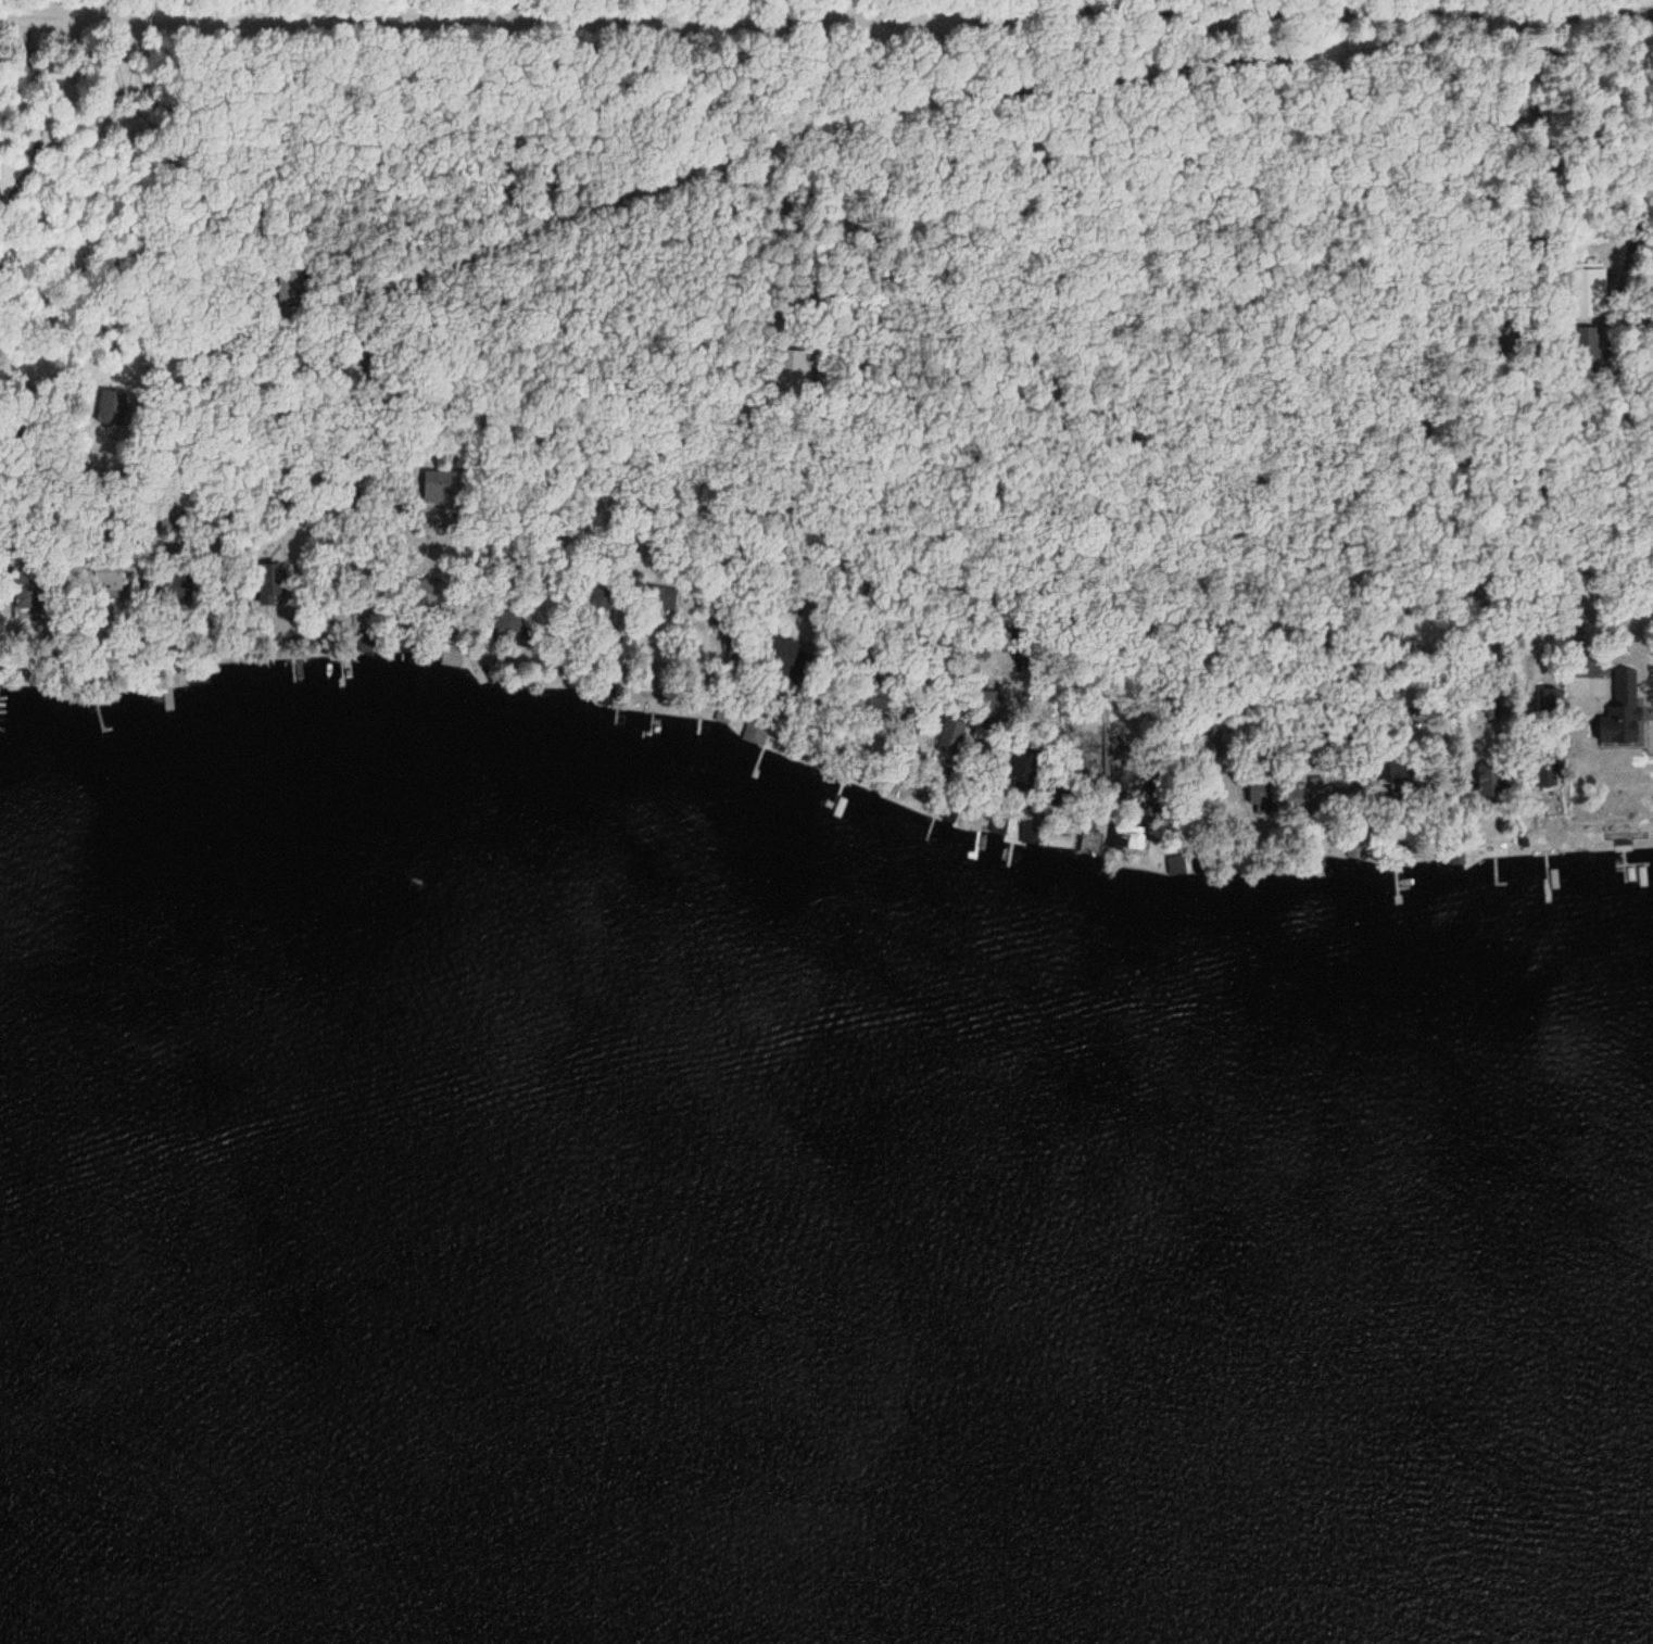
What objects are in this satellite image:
road: (1448, 20)
road: (1158, 60)
road: (534, 71)
road: (1194, 135)
road: (494, 147)
road: (1171, 150)
road: (1217, 178)
road: (1135, 186)
road: (559, 194)
road: (1040, 198)
road: (1014, 199)
road: (976, 216)
road: (930, 228)
road: (1645, 231)
road: (617, 233)
road: (189, 239)
road: (666, 257)
road: (761, 264)
road: (712, 277)
road: (1076, 277)
building: (295, 288)
building: (1591, 294)
road: (808, 328)
road: (1246, 351)
road: (856, 394)
building: (109, 415)
building: (172, 518)
building: (106, 578)
building: (266, 582)
building: (177, 583)
building: (601, 595)
building: (660, 598)
building: (503, 625)
building: (980, 652)
building: (782, 657)
building: (1547, 700)
building: (1620, 713)
building: (950, 731)
building: (1211, 741)
building: (1022, 764)
building: (1544, 770)
building: (1258, 792)
building: (1304, 798)
building: (1088, 843)
building: (1354, 849)

